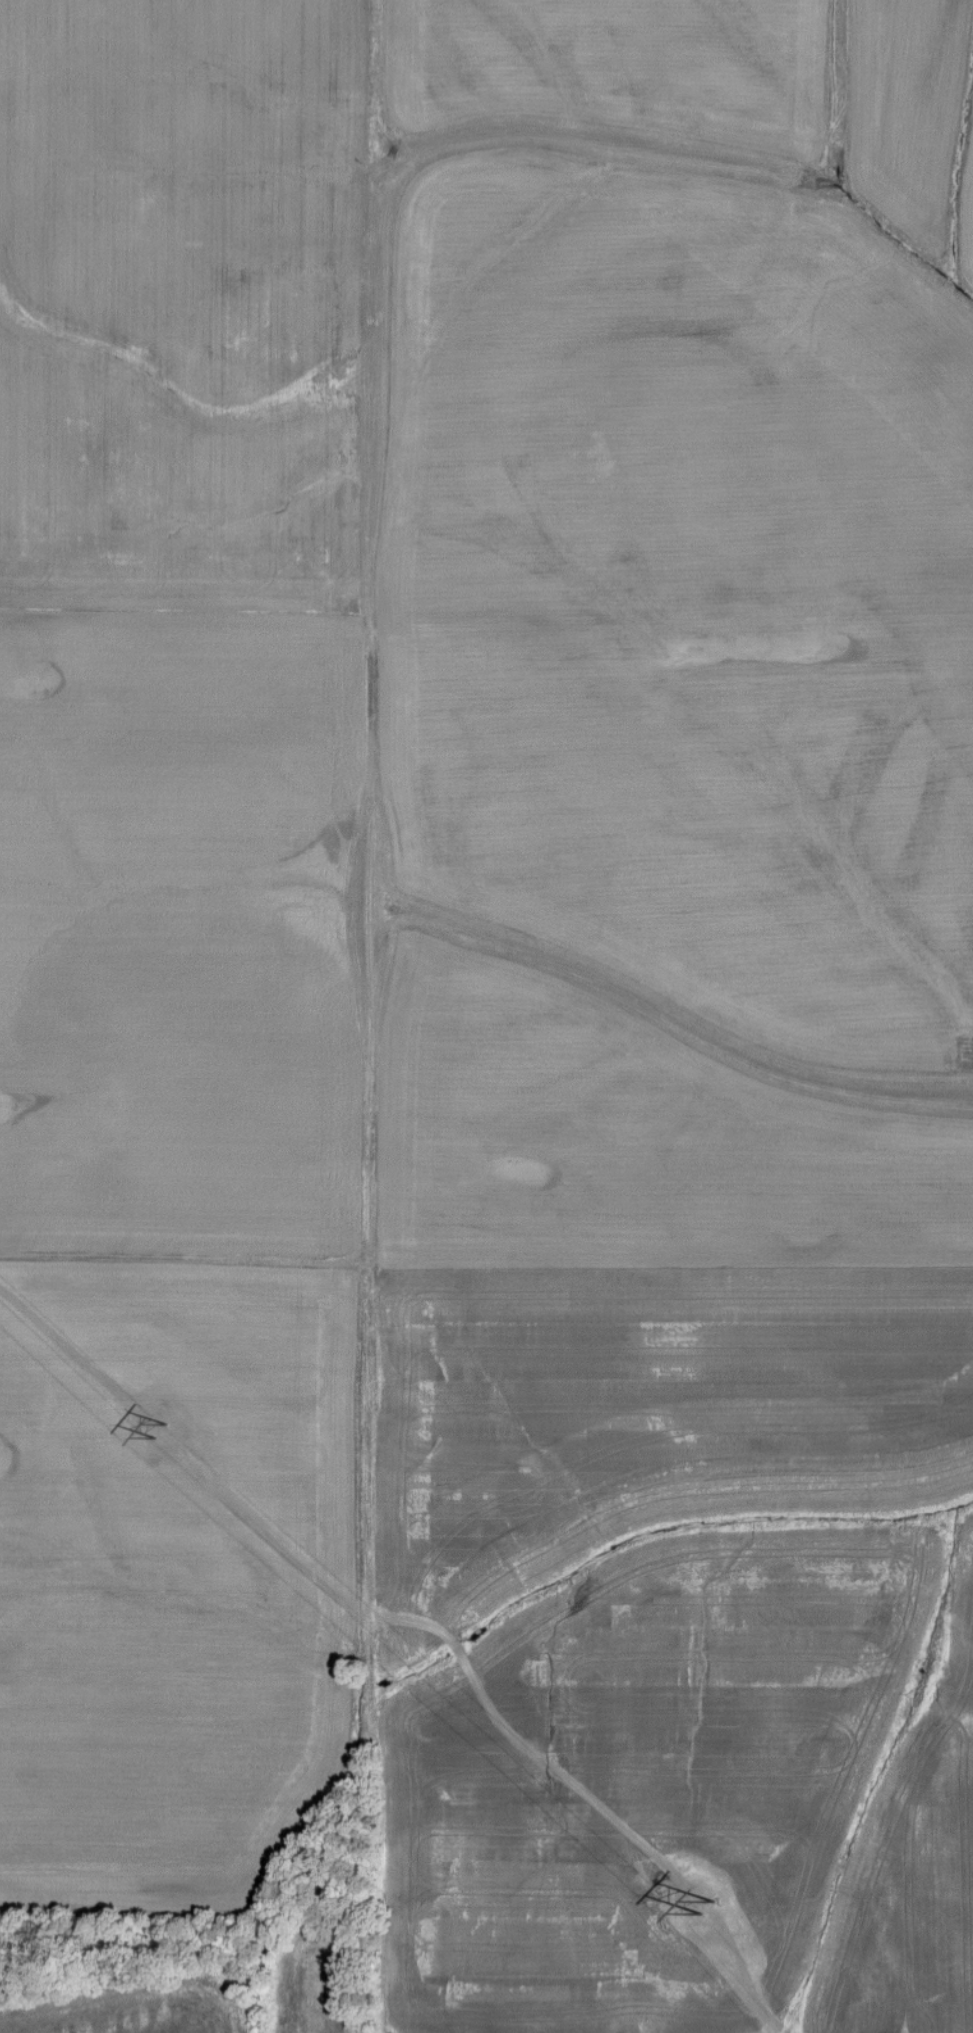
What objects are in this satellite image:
power tower: (161, 1434)
power tower: (706, 1916)

